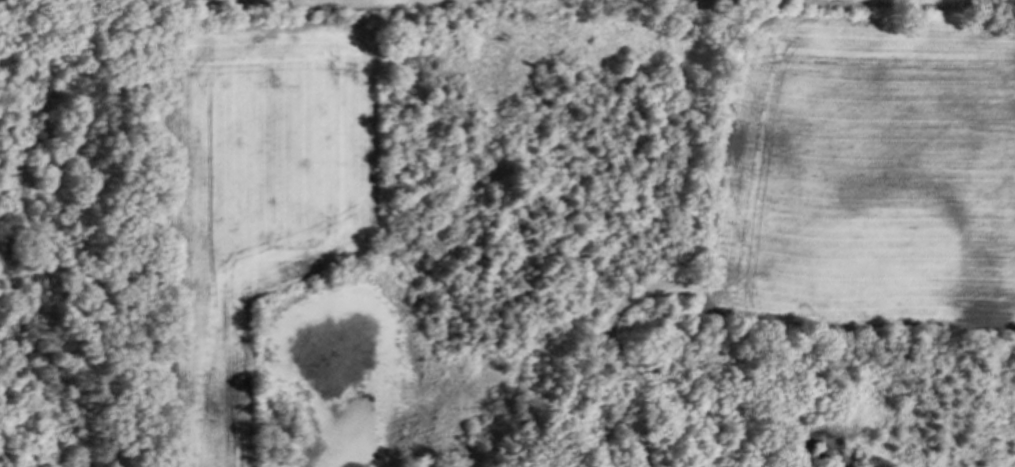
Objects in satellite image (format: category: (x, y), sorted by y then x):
crop: (251, 9)
park: (84, 247)

